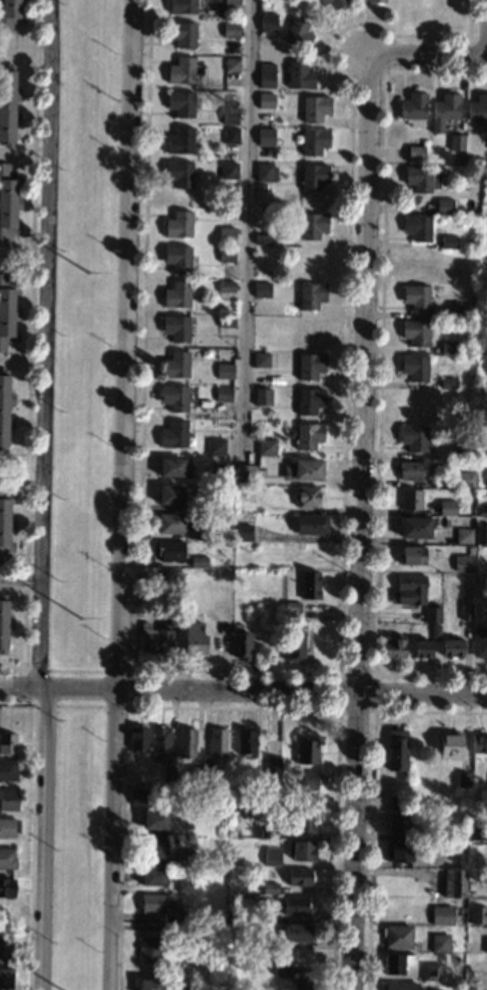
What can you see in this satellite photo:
building: (375, 1)
building: (333, 3)
building: (182, 6)
building: (230, 6)
building: (10, 14)
building: (267, 23)
building: (230, 30)
building: (181, 33)
building: (296, 34)
road: (427, 62)
building: (231, 64)
building: (180, 71)
building: (265, 75)
building: (298, 75)
building: (280, 87)
building: (265, 101)
building: (180, 103)
building: (7, 105)
building: (314, 108)
building: (413, 109)
building: (477, 109)
building: (443, 111)
building: (228, 115)
building: (230, 135)
building: (264, 137)
building: (179, 140)
building: (314, 141)
building: (456, 142)
building: (416, 152)
building: (227, 170)
building: (265, 172)
building: (178, 173)
building: (313, 176)
building: (420, 178)
building: (8, 202)
building: (443, 206)
building: (177, 225)
building: (312, 225)
building: (416, 227)
road: (246, 230)
building: (226, 235)
building: (262, 239)
building: (448, 242)
building: (3, 251)
building: (225, 254)
building: (177, 257)
building: (311, 261)
building: (416, 262)
power tower: (87, 273)
building: (262, 273)
building: (447, 278)
building: (225, 287)
building: (261, 289)
building: (176, 294)
building: (311, 295)
building: (415, 297)
building: (7, 310)
building: (460, 310)
building: (225, 322)
building: (260, 323)
building: (175, 328)
building: (310, 330)
building: (415, 332)
building: (448, 348)
building: (174, 364)
building: (309, 365)
building: (262, 366)
building: (414, 368)
building: (224, 371)
building: (447, 380)
building: (191, 391)
building: (222, 394)
building: (262, 396)
building: (174, 398)
building: (308, 400)
building: (413, 402)
building: (4, 409)
building: (447, 415)
building: (173, 434)
building: (308, 435)
building: (414, 437)
building: (215, 447)
building: (265, 447)
building: (462, 451)
building: (173, 466)
building: (303, 470)
building: (409, 470)
building: (224, 474)
building: (244, 474)
building: (465, 480)
building: (482, 484)
building: (0, 486)
building: (243, 493)
road: (43, 495)
road: (123, 495)
building: (169, 495)
building: (306, 496)
building: (410, 500)
building: (206, 502)
building: (446, 508)
building: (481, 512)
building: (5, 521)
building: (171, 523)
building: (310, 524)
road: (360, 525)
building: (414, 527)
building: (480, 531)
building: (242, 532)
building: (201, 534)
building: (463, 535)
building: (470, 550)
building: (170, 551)
building: (411, 555)
building: (198, 561)
building: (462, 563)
road: (21, 580)
building: (310, 585)
building: (408, 590)
building: (292, 606)
building: (432, 612)
building: (465, 612)
building: (254, 614)
building: (291, 617)
power tower: (81, 620)
building: (172, 620)
building: (4, 623)
building: (435, 632)
building: (155, 639)
building: (202, 639)
building: (479, 642)
building: (241, 645)
building: (293, 645)
building: (452, 647)
building: (393, 648)
building: (421, 649)
road: (60, 688)
road: (303, 691)
building: (137, 738)
building: (161, 739)
building: (185, 742)
building: (217, 742)
building: (7, 743)
building: (245, 743)
building: (478, 744)
building: (450, 746)
building: (305, 750)
building: (396, 750)
building: (273, 766)
building: (8, 771)
building: (168, 774)
building: (194, 774)
building: (208, 774)
building: (310, 779)
building: (462, 779)
building: (388, 791)
building: (138, 797)
building: (413, 799)
building: (9, 800)
building: (154, 820)
building: (304, 823)
building: (398, 824)
building: (9, 827)
building: (268, 832)
building: (477, 832)
building: (428, 834)
building: (153, 848)
building: (303, 851)
building: (398, 851)
building: (458, 852)
building: (272, 856)
building: (185, 857)
building: (7, 859)
building: (153, 876)
building: (299, 876)
building: (184, 883)
building: (454, 883)
building: (270, 888)
building: (480, 888)
building: (7, 889)
building: (155, 903)
building: (295, 905)
building: (264, 908)
building: (179, 915)
building: (441, 915)
building: (478, 915)
building: (249, 916)
building: (175, 928)
building: (297, 933)
building: (396, 936)
building: (267, 943)
building: (439, 943)
building: (486, 945)
building: (4, 947)
building: (148, 947)
building: (397, 963)
building: (280, 970)
building: (430, 972)
building: (5, 979)
building: (149, 984)
building: (302, 985)
building: (399, 986)
building: (468, 987)
building: (182, 989)

